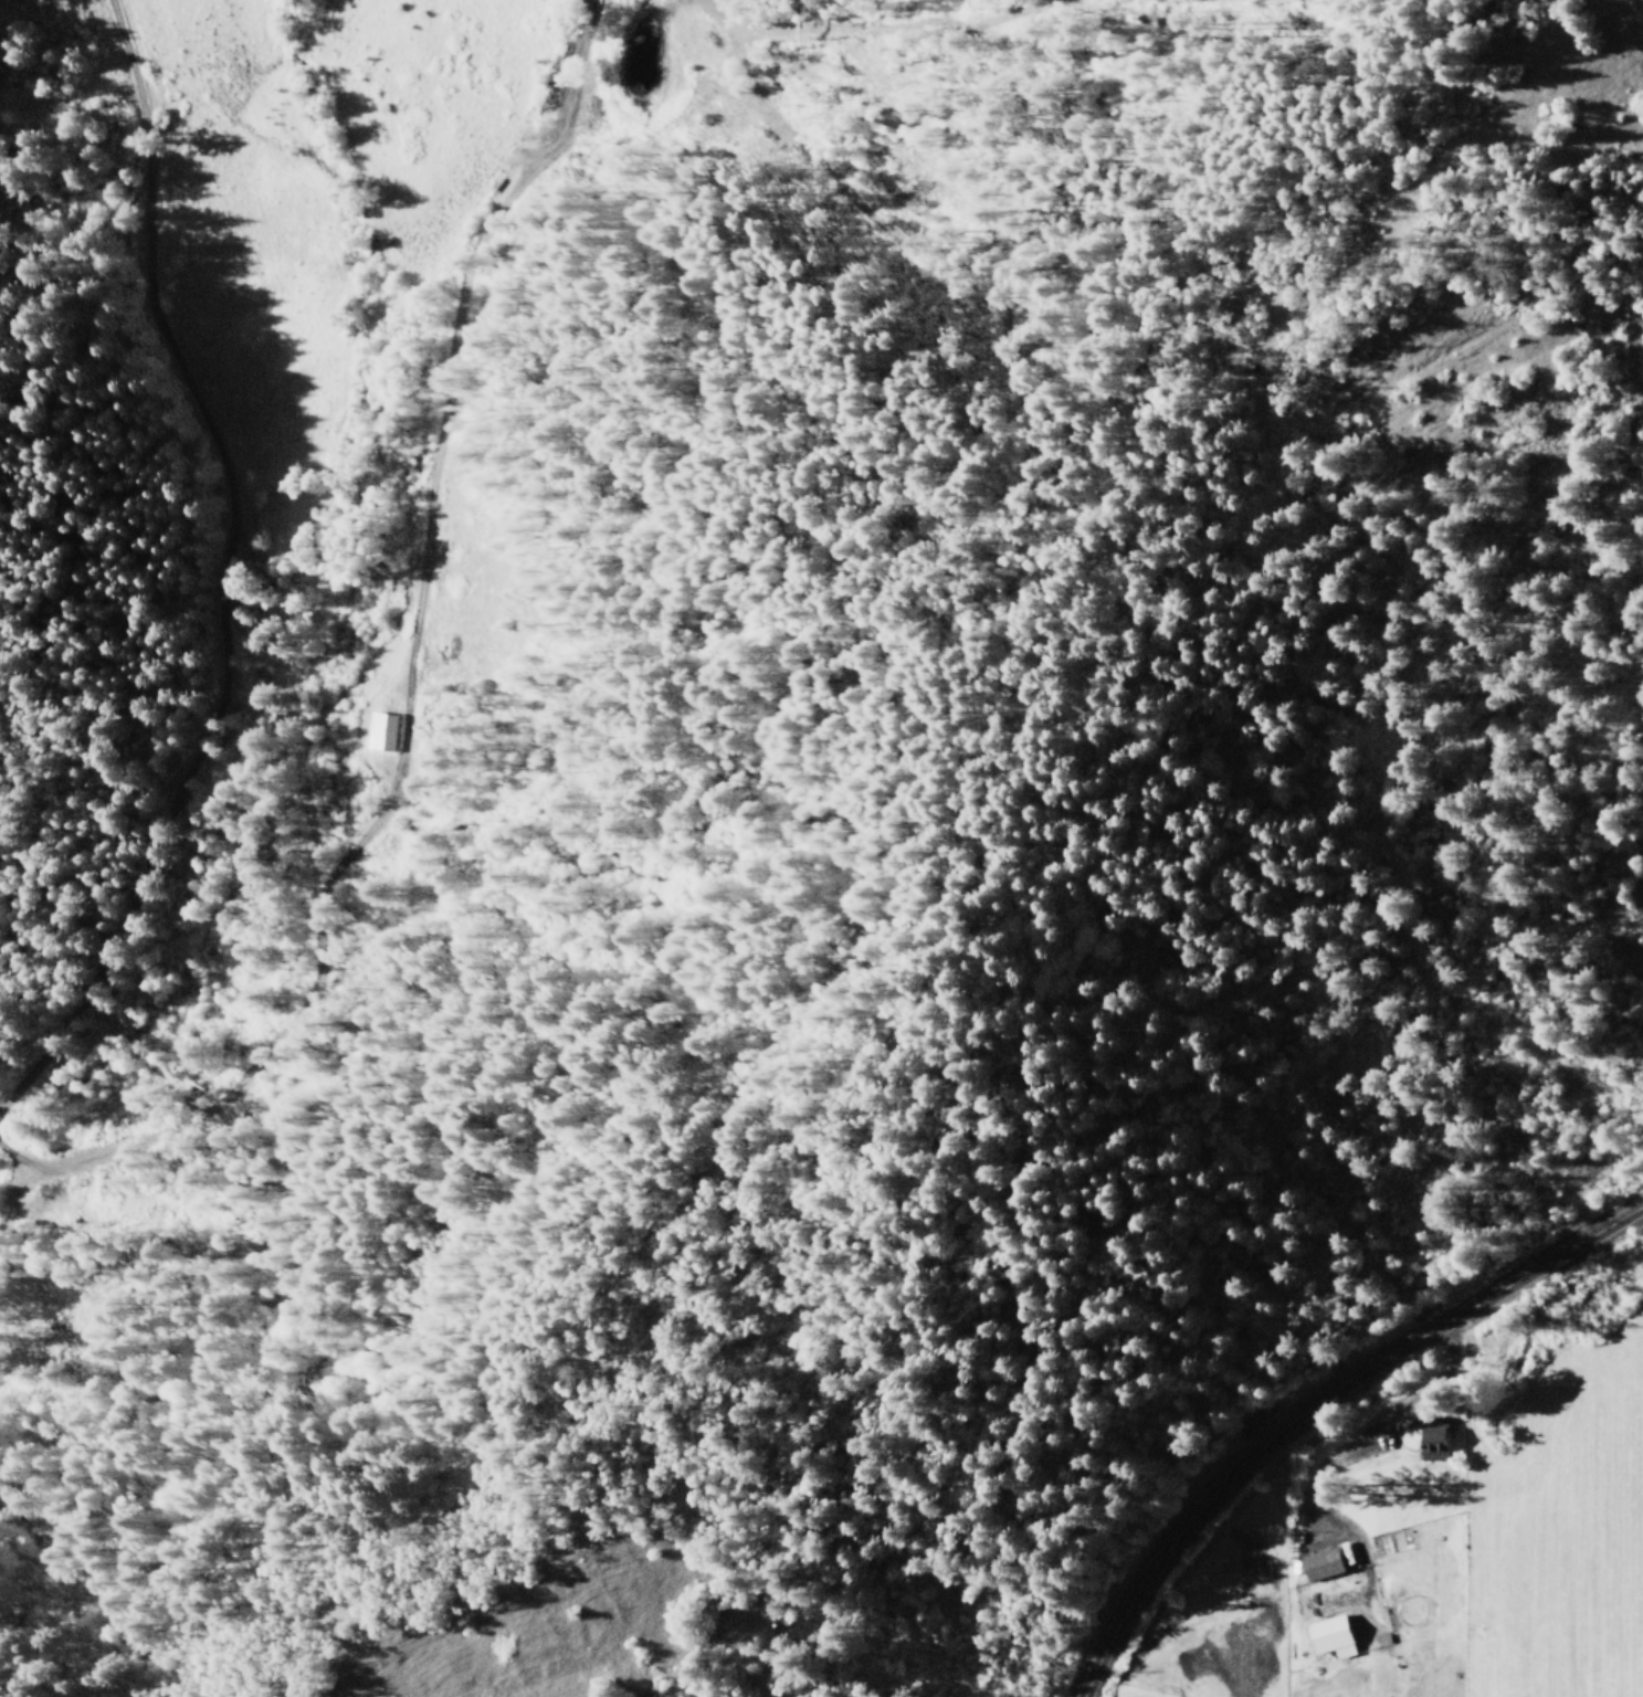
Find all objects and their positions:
road: (211, 603)
building: (380, 730)
road: (1315, 1406)
building: (1433, 1443)
building: (1324, 1561)
building: (1329, 1635)

